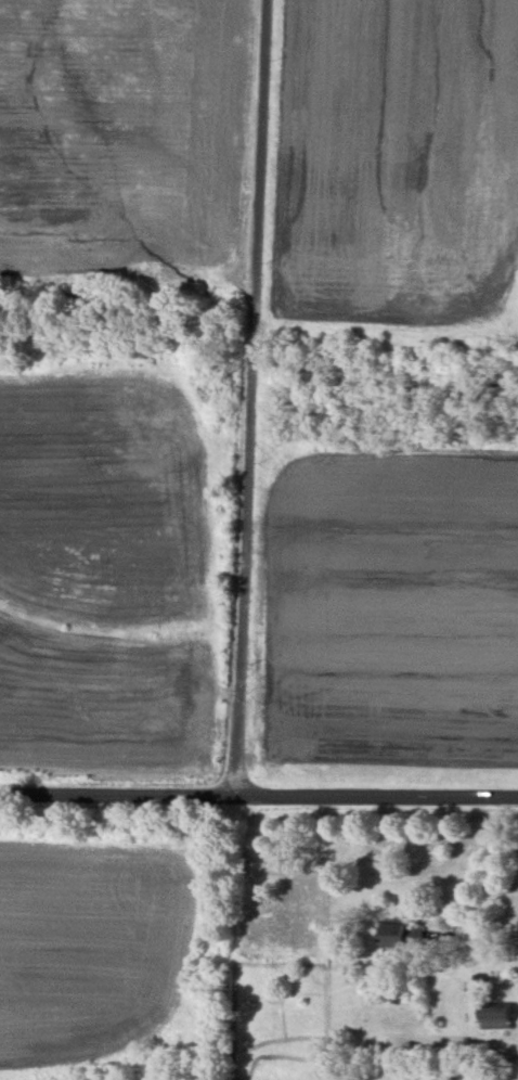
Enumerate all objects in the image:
crop: (130, 136)
road: (250, 397)
crop: (118, 575)
road: (258, 795)
road: (497, 867)
building: (398, 936)
crop: (94, 942)
building: (498, 1018)

